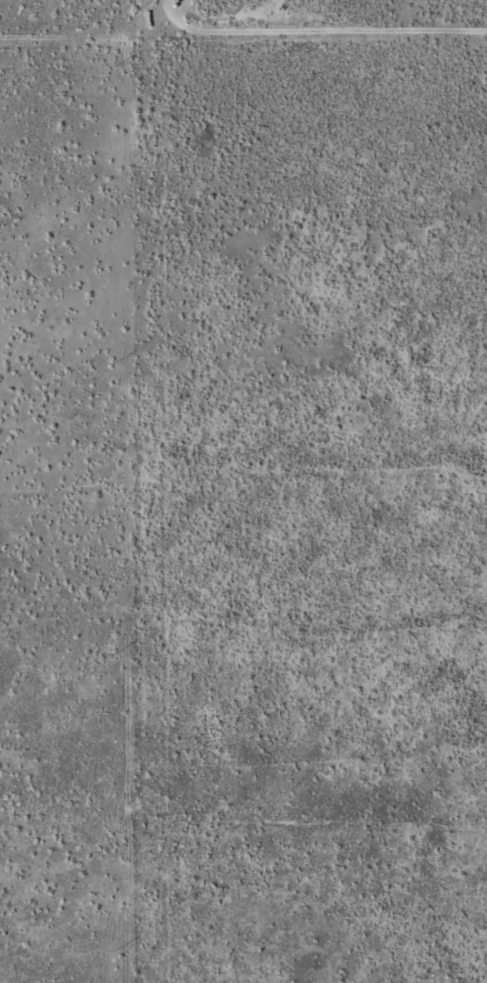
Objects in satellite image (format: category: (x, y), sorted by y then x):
road: (59, 24)
road: (302, 29)
road: (116, 505)

